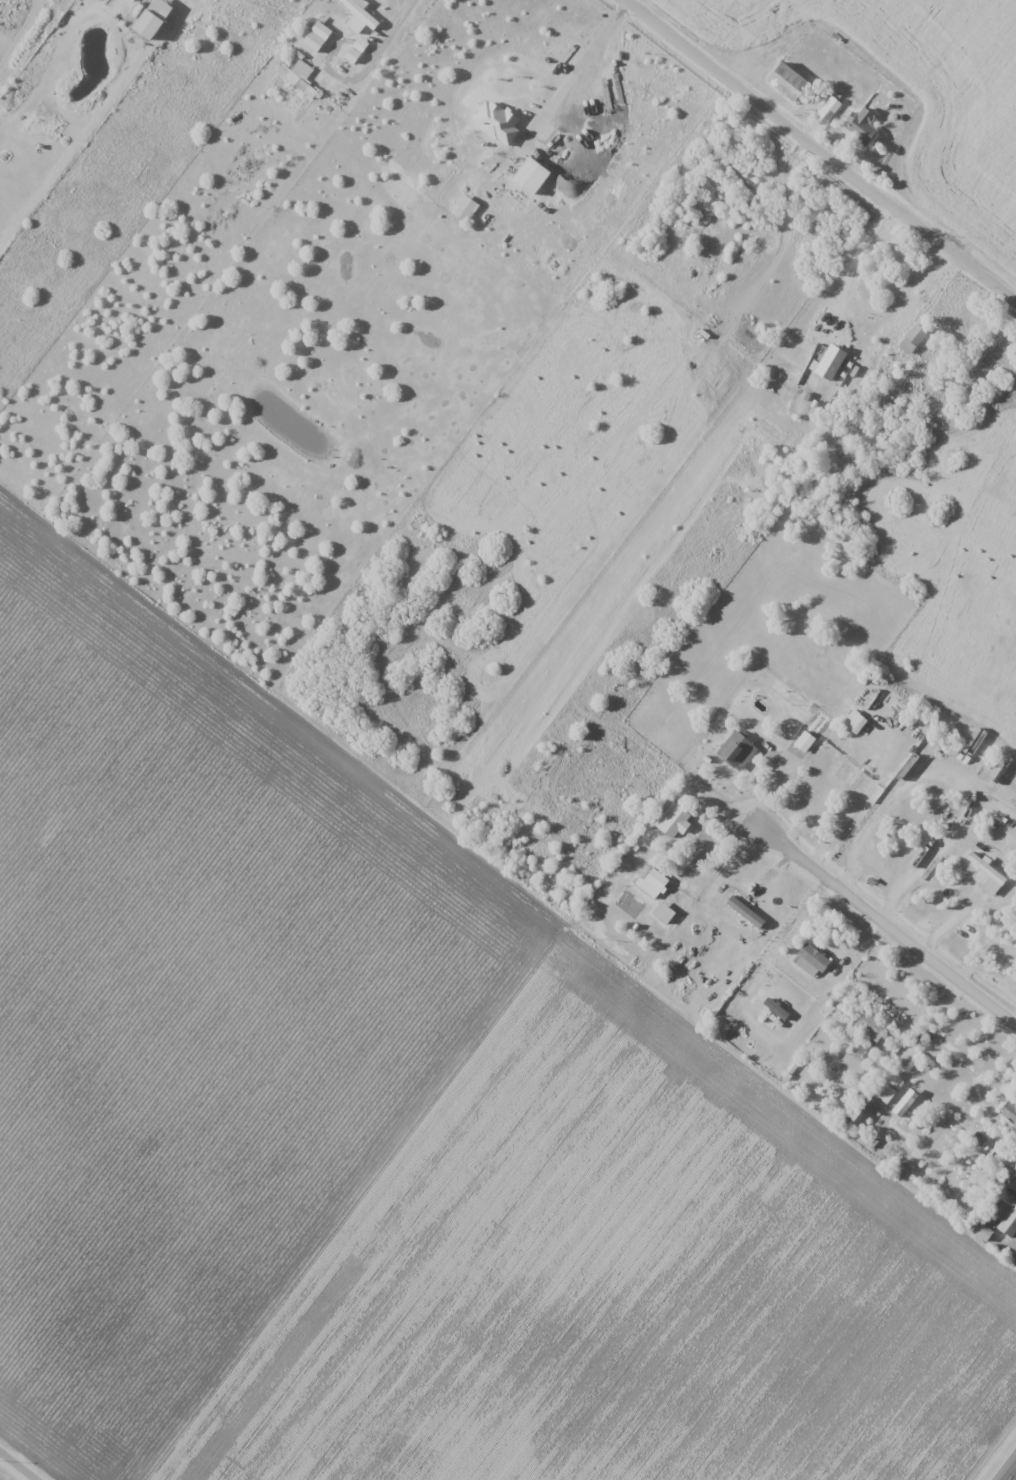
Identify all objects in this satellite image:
building: (360, 13)
building: (321, 31)
building: (788, 81)
building: (301, 85)
building: (497, 121)
building: (863, 128)
road: (818, 151)
building: (532, 176)
building: (465, 209)
building: (913, 338)
building: (737, 750)
building: (675, 821)
building: (985, 870)
building: (656, 880)
road: (883, 926)
building: (811, 960)
road: (927, 1020)
building: (869, 1026)
building: (1004, 1213)
road: (16, 1467)
road: (1014, 1478)

